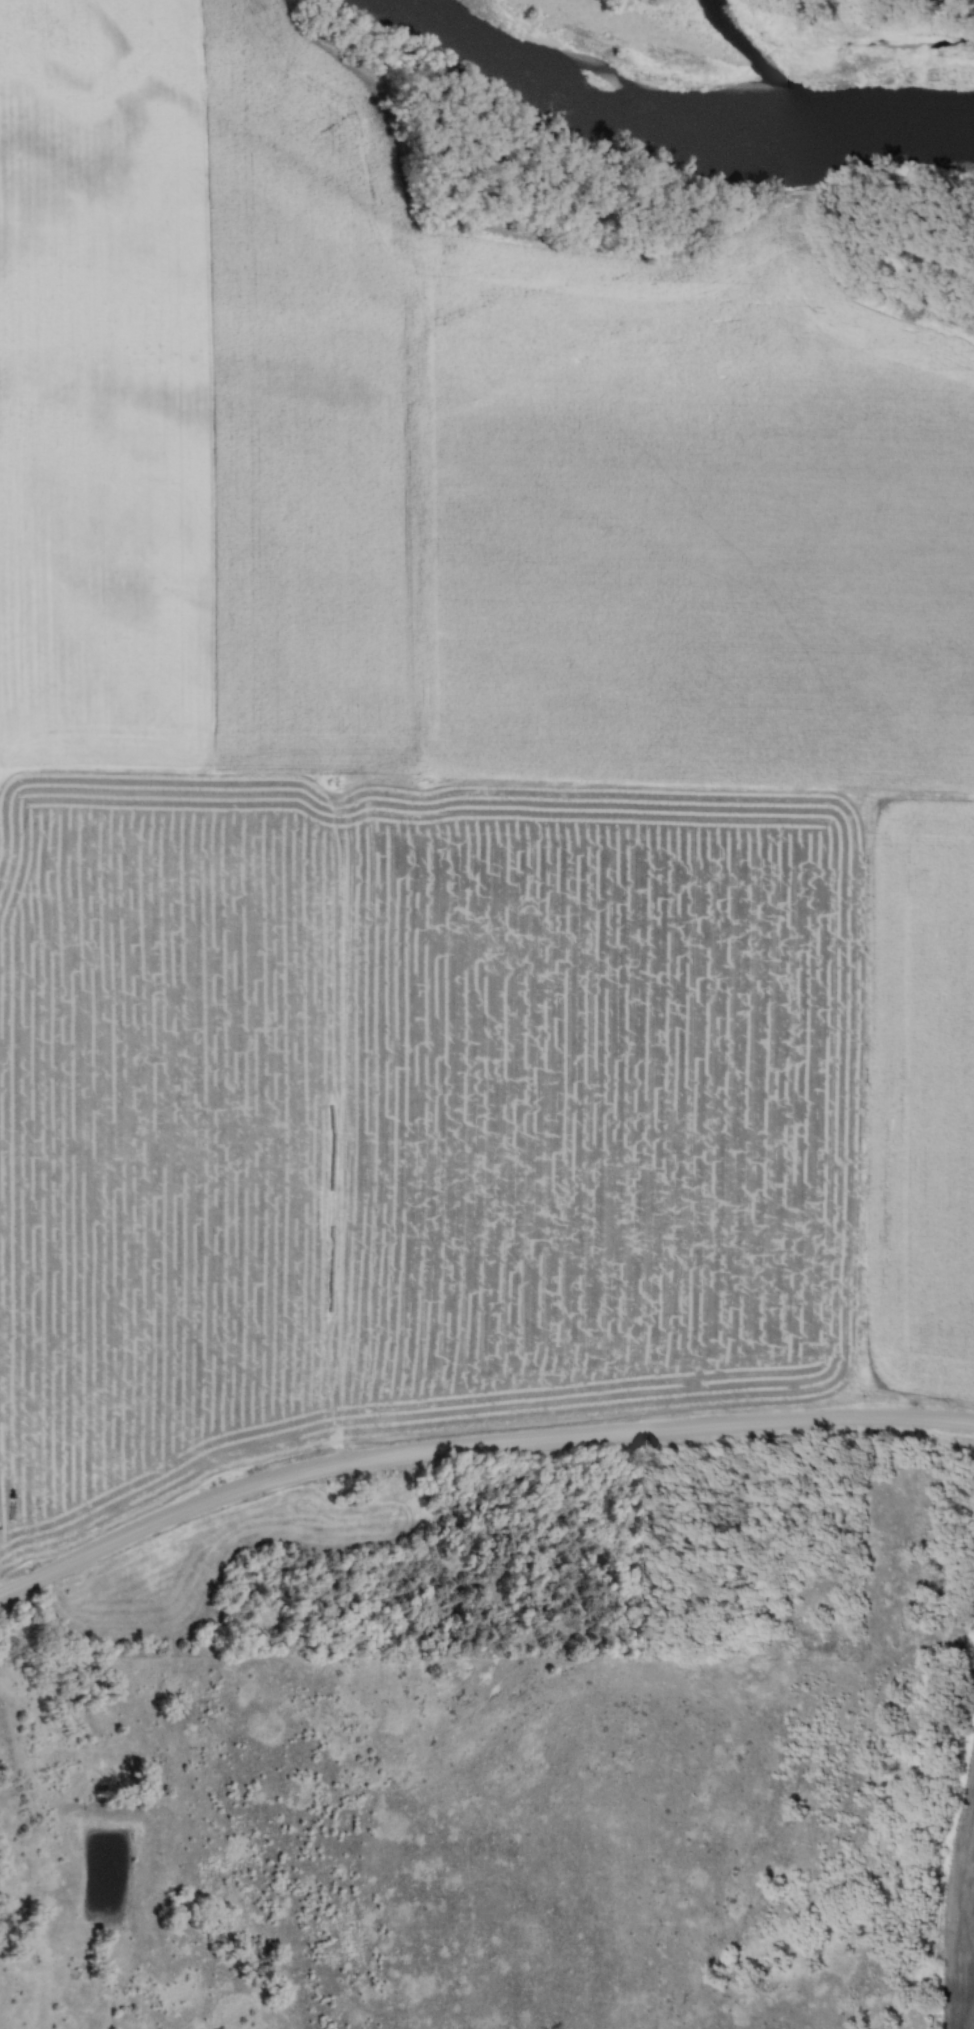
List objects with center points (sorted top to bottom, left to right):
river: (686, 79)
road: (475, 1449)

